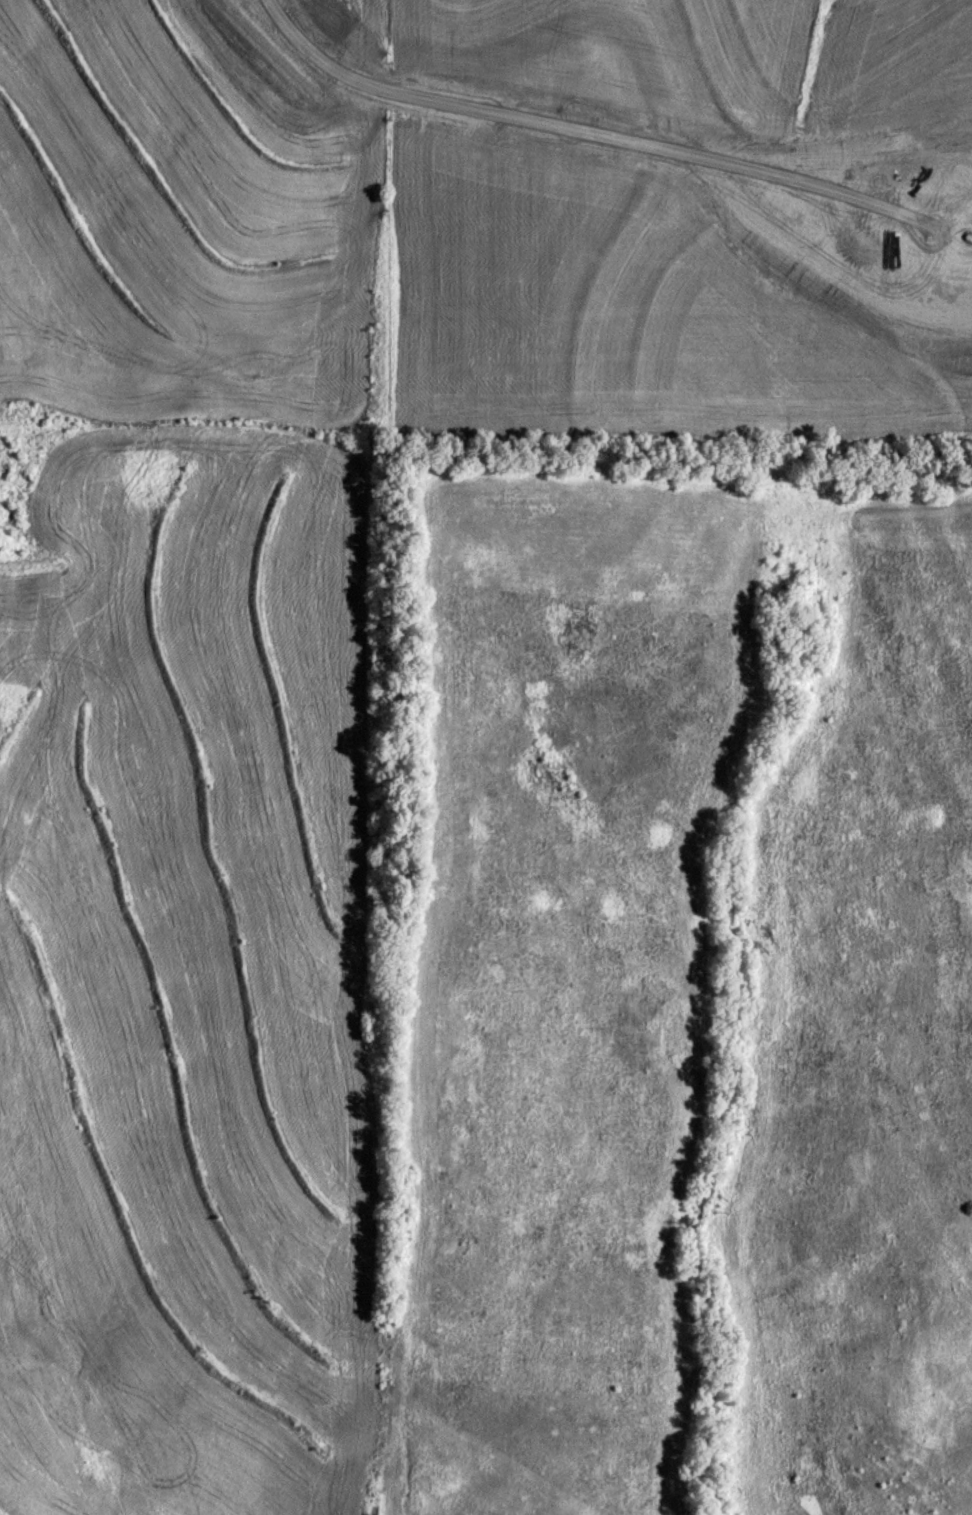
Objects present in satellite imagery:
wind turbine: (965, 229)

